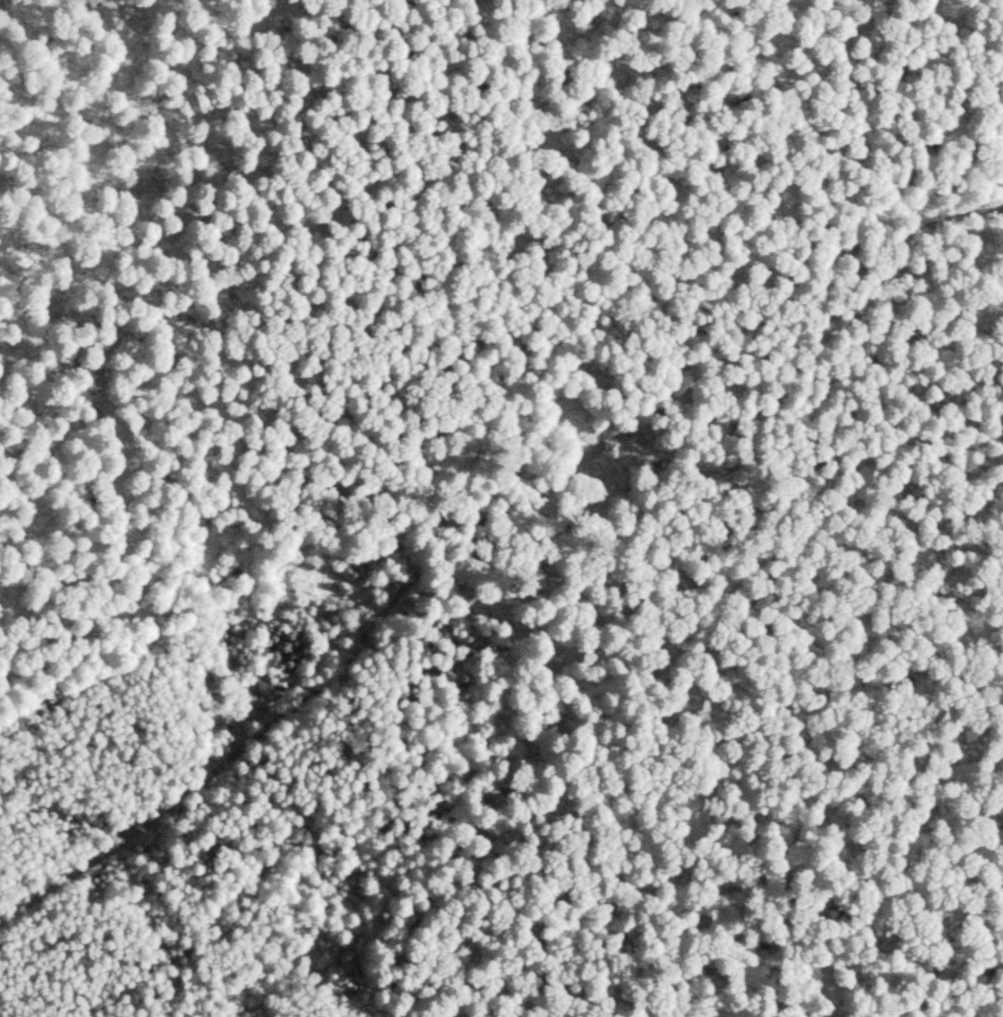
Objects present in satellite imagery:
road: (477, 524)

